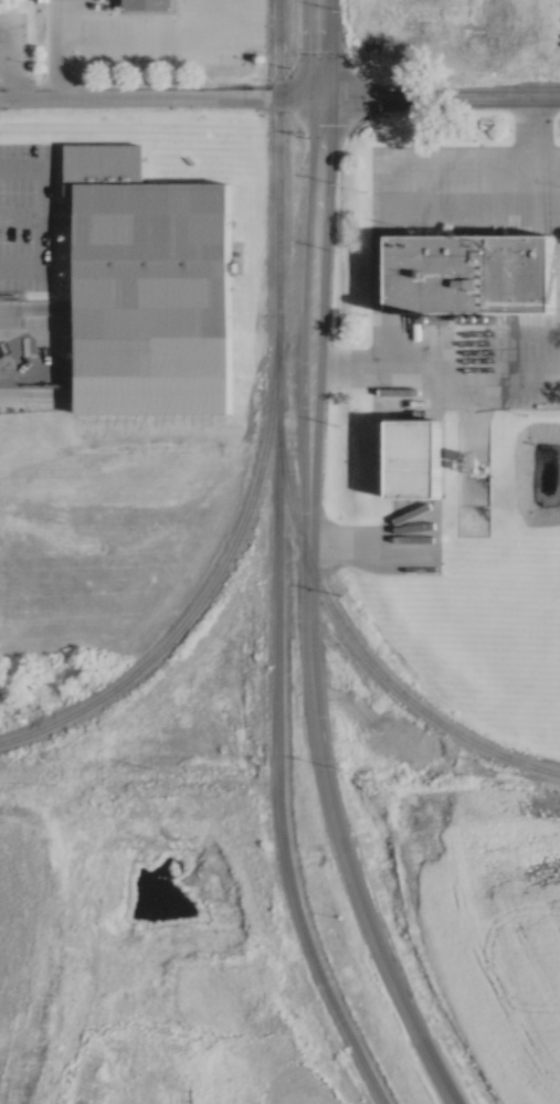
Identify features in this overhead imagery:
building: (148, 3)
road: (233, 47)
road: (60, 49)
road: (317, 49)
road: (4, 82)
road: (279, 97)
traffic signals: (319, 97)
road: (316, 153)
road: (524, 164)
building: (477, 274)
road: (25, 314)
building: (146, 315)
road: (432, 372)
building: (423, 456)
railway: (273, 561)
railway: (191, 618)
railway: (355, 635)
road: (310, 671)

